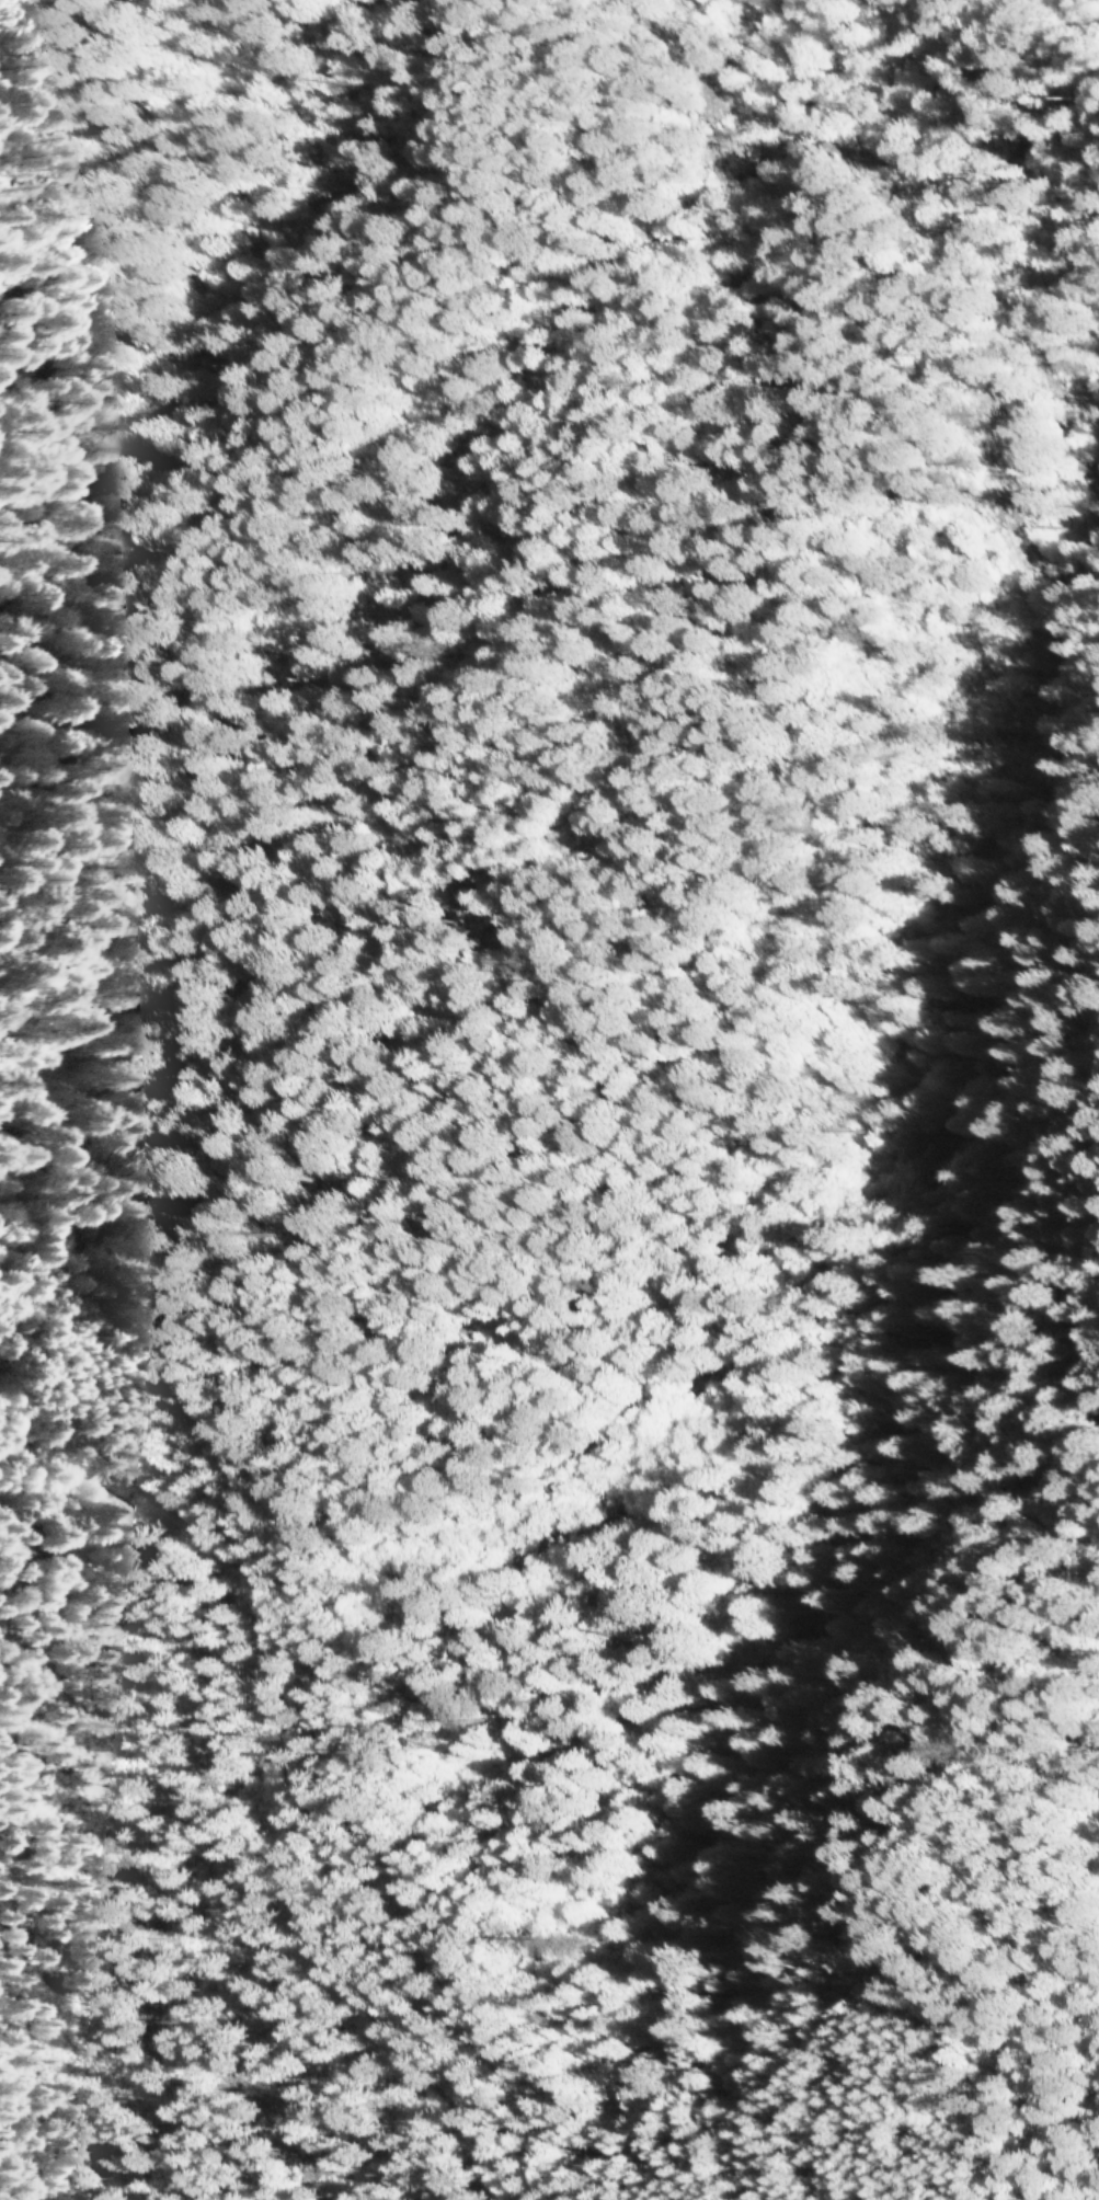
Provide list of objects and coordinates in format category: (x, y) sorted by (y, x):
road: (1011, 67)
road: (271, 1772)

